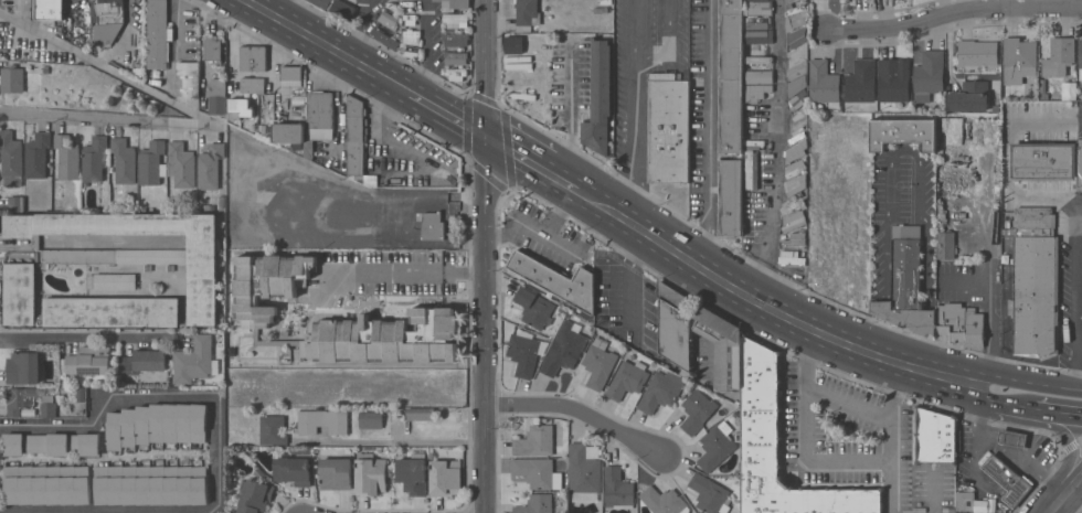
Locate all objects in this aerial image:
building: (786, 0)
building: (322, 2)
building: (76, 3)
building: (455, 4)
building: (759, 7)
building: (49, 9)
building: (343, 9)
building: (108, 10)
building: (528, 12)
road: (293, 13)
road: (953, 13)
building: (411, 18)
building: (390, 19)
building: (455, 20)
building: (754, 20)
road: (635, 29)
building: (158, 33)
road: (363, 33)
building: (412, 36)
building: (757, 36)
building: (384, 38)
building: (456, 39)
building: (513, 44)
road: (671, 45)
building: (213, 47)
building: (759, 49)
road: (337, 51)
building: (412, 51)
building: (977, 52)
road: (428, 53)
building: (456, 56)
building: (1059, 56)
building: (253, 57)
building: (1018, 58)
building: (1080, 61)
building: (455, 73)
building: (929, 74)
building: (291, 75)
building: (12, 77)
building: (731, 77)
building: (894, 78)
building: (861, 81)
building: (189, 82)
building: (824, 83)
building: (252, 84)
building: (755, 89)
building: (1069, 89)
building: (298, 90)
building: (216, 94)
building: (600, 96)
building: (969, 96)
building: (298, 99)
building: (240, 108)
road: (572, 113)
road: (198, 114)
building: (279, 114)
building: (318, 118)
road: (456, 121)
building: (669, 126)
building: (262, 128)
building: (288, 131)
building: (903, 132)
road: (709, 133)
building: (356, 136)
road: (633, 141)
road: (506, 149)
road: (908, 149)
building: (796, 151)
road: (776, 153)
building: (38, 154)
road: (1007, 156)
building: (66, 157)
building: (11, 158)
building: (95, 158)
building: (124, 160)
building: (1043, 160)
building: (152, 162)
building: (182, 163)
building: (1080, 163)
building: (210, 165)
building: (749, 169)
building: (794, 169)
road: (552, 174)
building: (730, 197)
building: (15, 203)
building: (794, 205)
road: (560, 213)
building: (1035, 221)
building: (795, 222)
road: (404, 224)
building: (431, 224)
road: (533, 231)
building: (795, 241)
building: (945, 244)
road: (12, 246)
building: (150, 255)
road: (486, 256)
building: (1035, 261)
road: (403, 272)
building: (113, 280)
building: (203, 280)
building: (556, 280)
building: (268, 284)
building: (906, 284)
building: (21, 293)
road: (1078, 300)
road: (766, 306)
building: (534, 307)
road: (885, 309)
building: (112, 311)
road: (925, 320)
building: (1035, 320)
road: (990, 323)
building: (675, 324)
building: (961, 324)
road: (878, 335)
road: (89, 338)
building: (385, 338)
building: (722, 346)
building: (563, 349)
road: (921, 350)
building: (523, 353)
road: (1081, 357)
building: (89, 360)
building: (144, 361)
building: (195, 361)
building: (598, 363)
building: (23, 367)
building: (627, 378)
building: (660, 391)
road: (1005, 393)
building: (81, 395)
building: (20, 398)
road: (1059, 402)
road: (849, 405)
building: (47, 406)
road: (104, 406)
building: (698, 408)
road: (891, 412)
building: (422, 413)
road: (581, 413)
building: (371, 419)
building: (322, 420)
building: (157, 424)
road: (1054, 428)
building: (273, 429)
building: (760, 432)
building: (935, 435)
building: (1012, 438)
building: (534, 440)
building: (52, 442)
road: (392, 442)
building: (717, 446)
road: (996, 447)
road: (218, 450)
road: (810, 458)
building: (294, 470)
building: (535, 471)
building: (584, 471)
building: (336, 473)
building: (413, 473)
building: (371, 474)
building: (445, 477)
building: (1007, 479)
building: (47, 484)
building: (150, 484)
building: (618, 488)
road: (933, 493)
building: (710, 494)
road: (1064, 494)
building: (254, 495)
building: (965, 500)
building: (664, 501)
building: (535, 504)
road: (109, 510)

